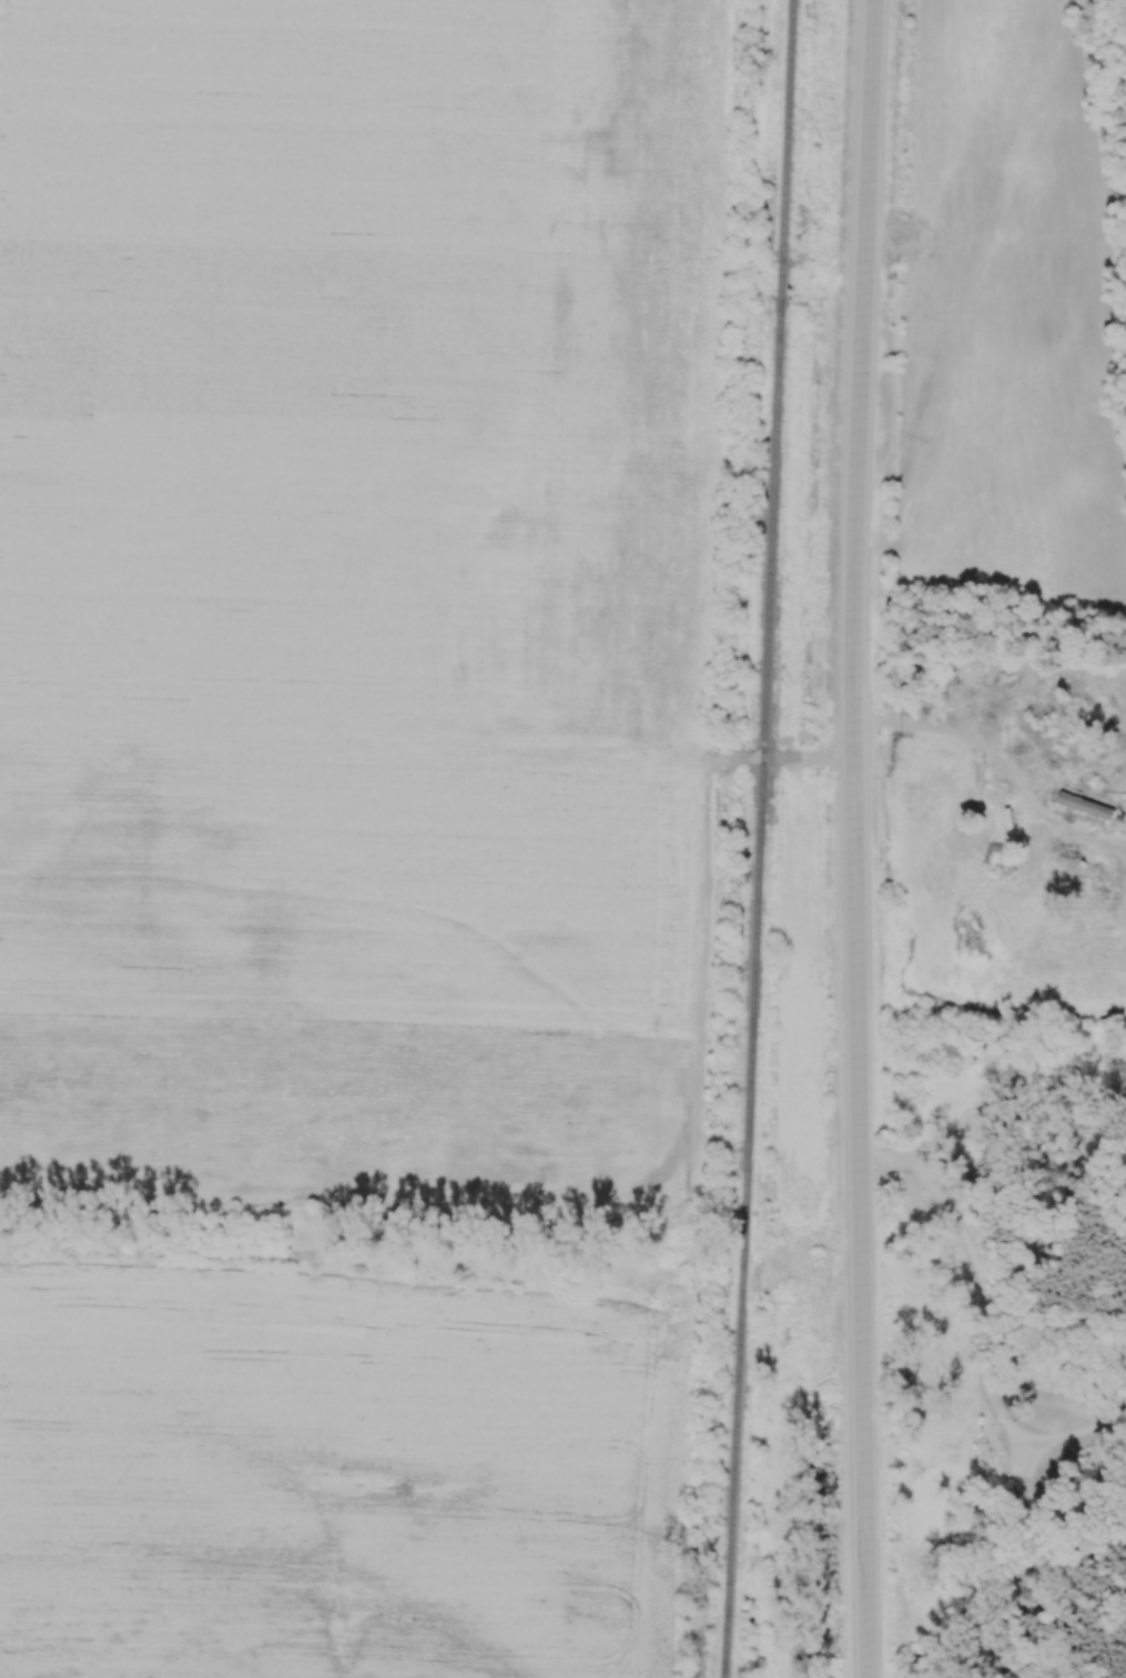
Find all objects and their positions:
road: (947, 34)
building: (970, 661)
building: (962, 679)
building: (1054, 694)
road: (912, 725)
building: (1045, 727)
building: (1114, 779)
building: (1086, 807)
building: (954, 822)
building: (1017, 829)
railway: (751, 838)
road: (846, 838)
building: (1064, 952)

